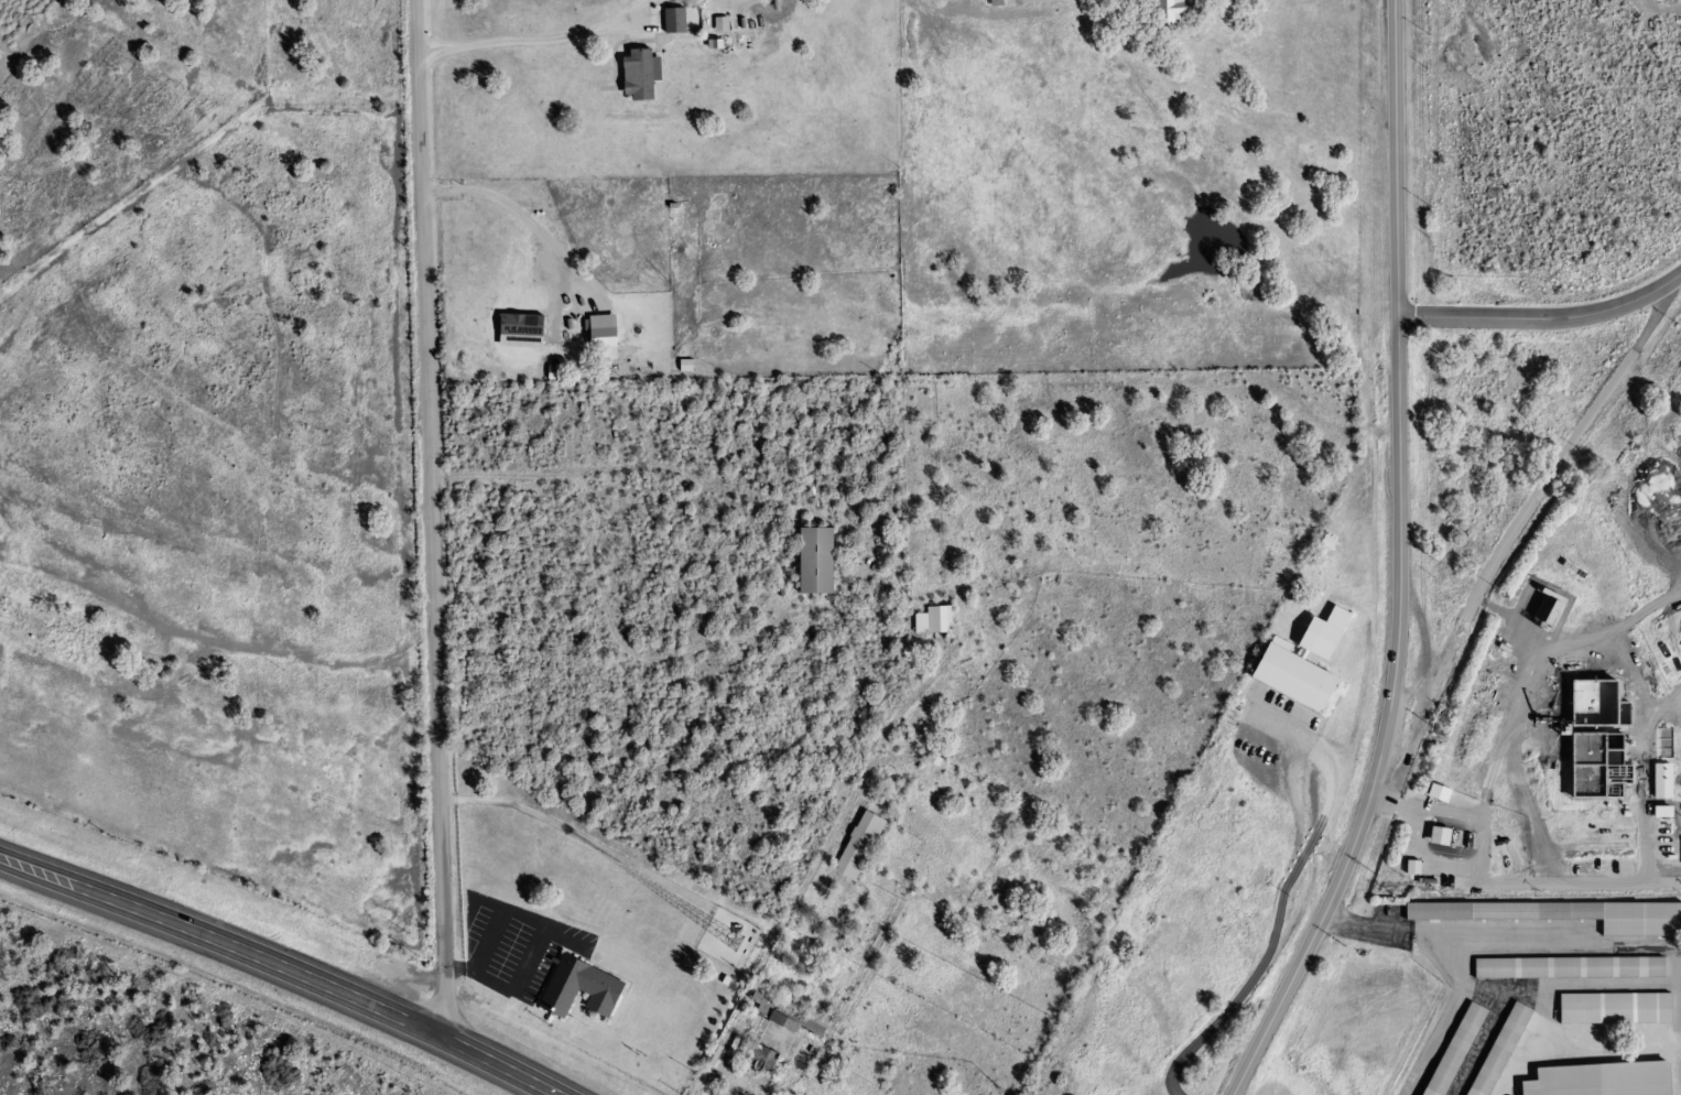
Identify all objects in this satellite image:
building: (993, 2)
building: (1163, 14)
building: (668, 22)
building: (629, 75)
building: (596, 345)
road: (1577, 436)
road: (432, 519)
building: (812, 560)
road: (1400, 564)
building: (932, 620)
building: (1298, 661)
road: (1560, 690)
wastewater plant: (1564, 705)
building: (1594, 767)
building: (1660, 781)
road: (1645, 810)
road: (1456, 814)
building: (855, 846)
road: (1424, 863)
road: (1528, 886)
road: (1282, 895)
building: (1562, 914)
road: (278, 966)
building: (1565, 967)
building: (573, 989)
building: (1610, 1008)
building: (793, 1021)
building: (1452, 1050)
building: (1496, 1050)
building: (756, 1059)
building: (1596, 1080)

